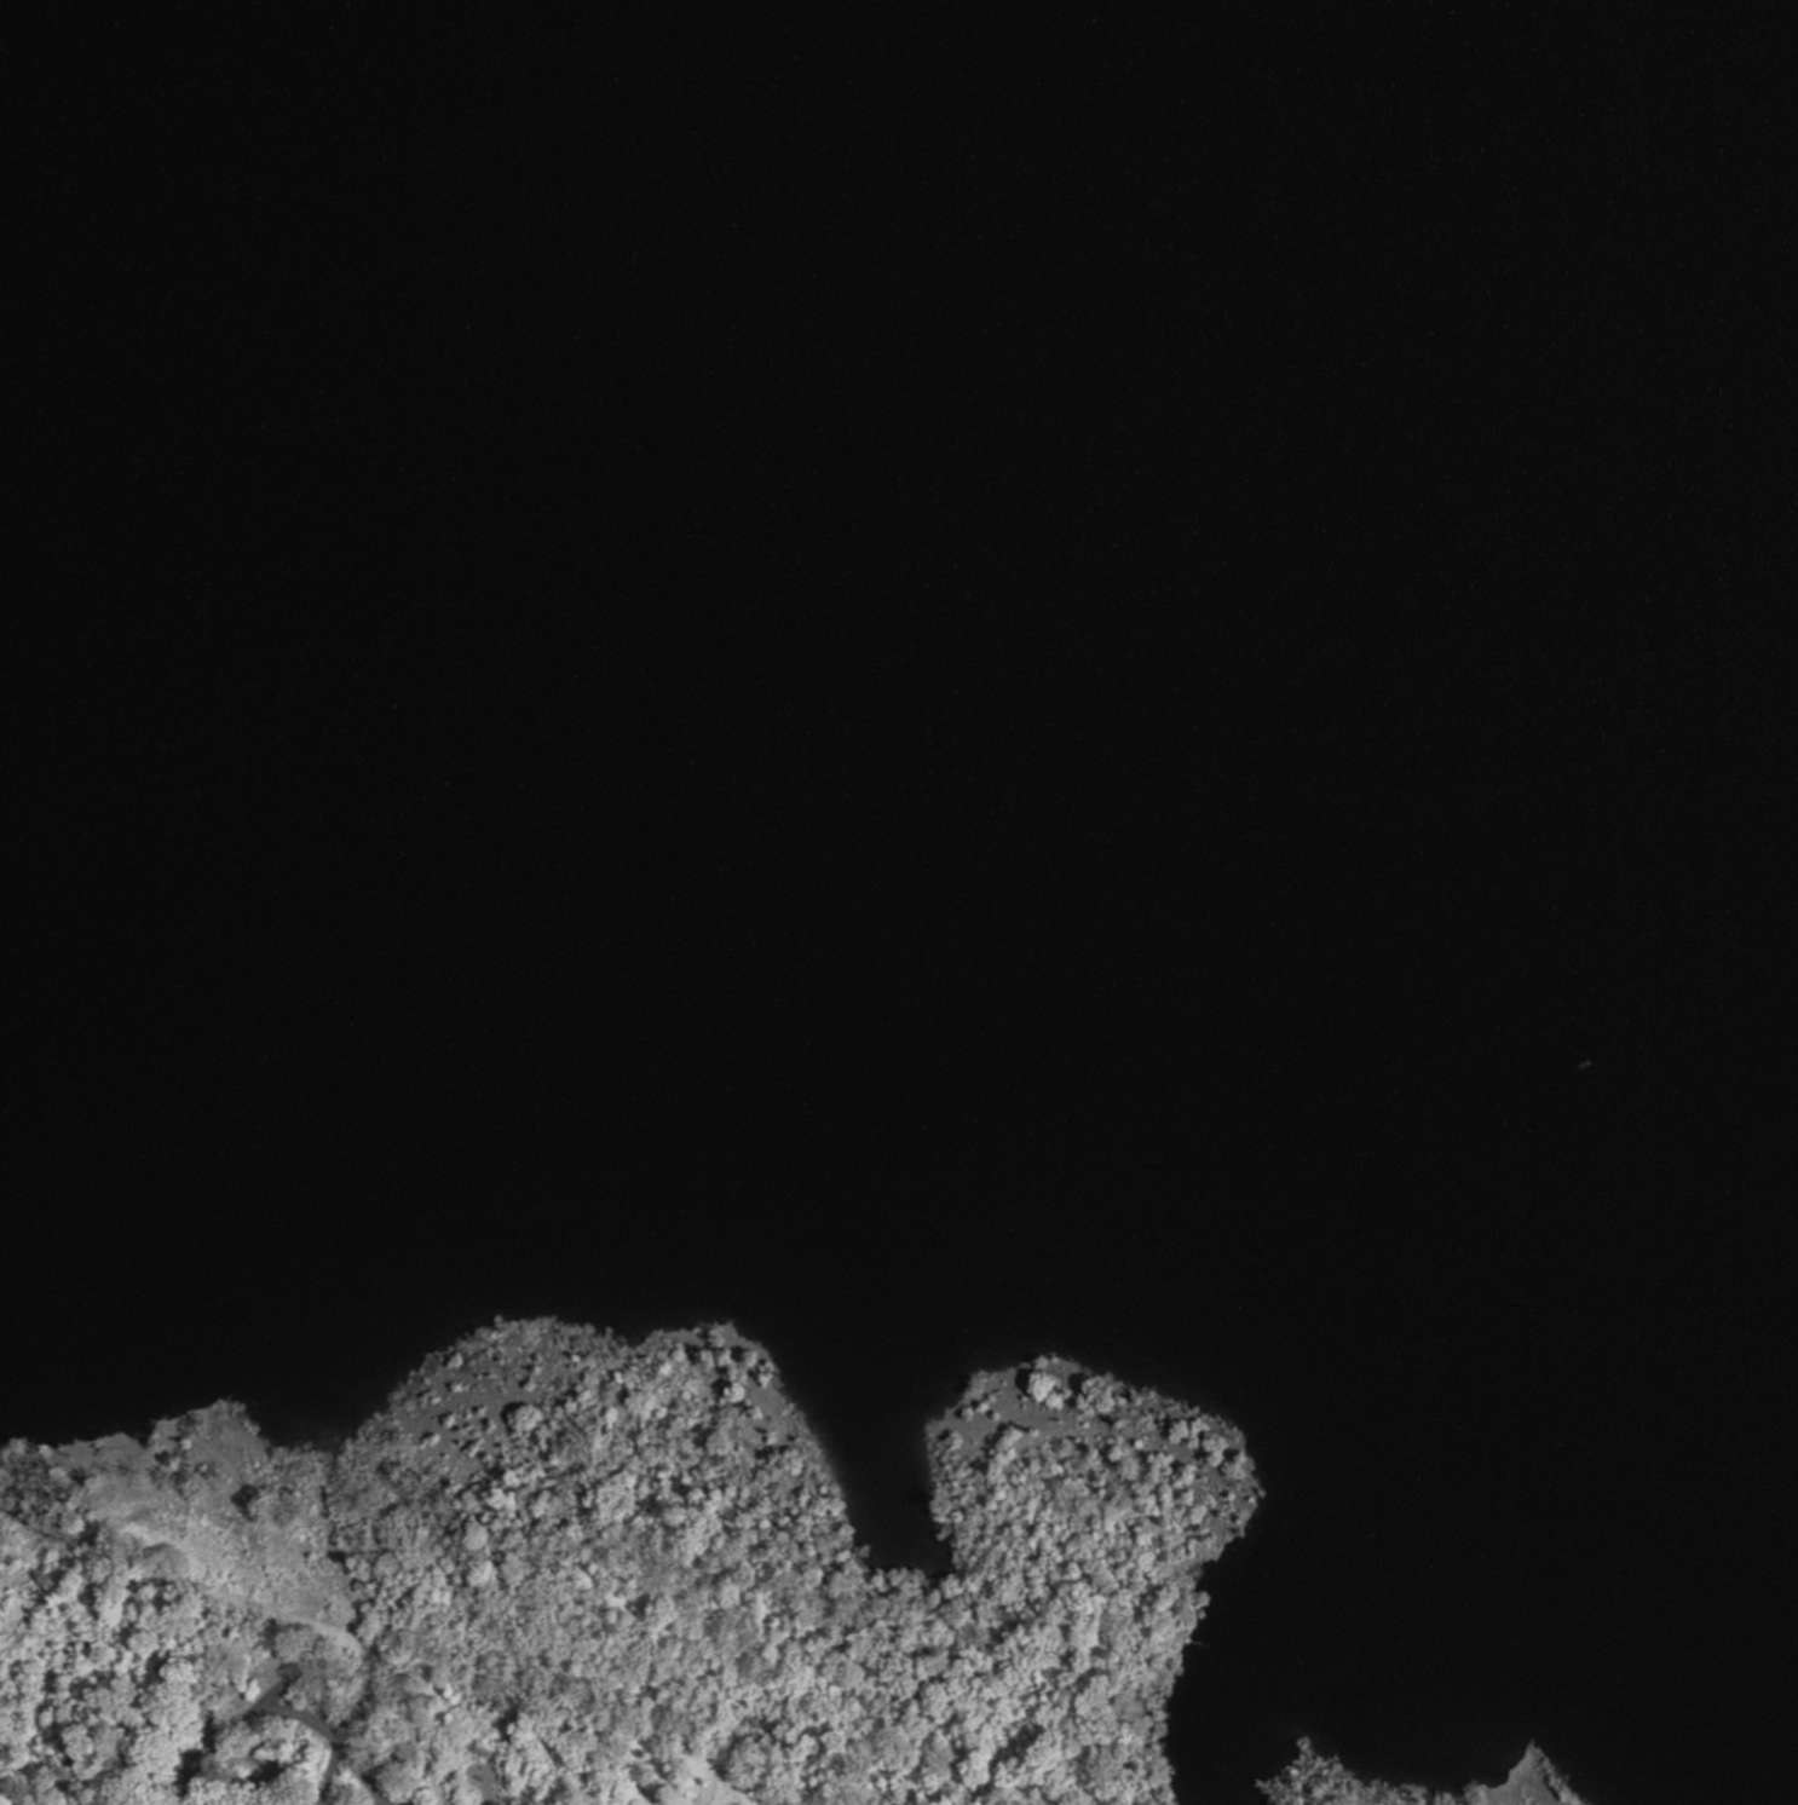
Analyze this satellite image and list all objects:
road: (122, 1609)
road: (282, 1712)

